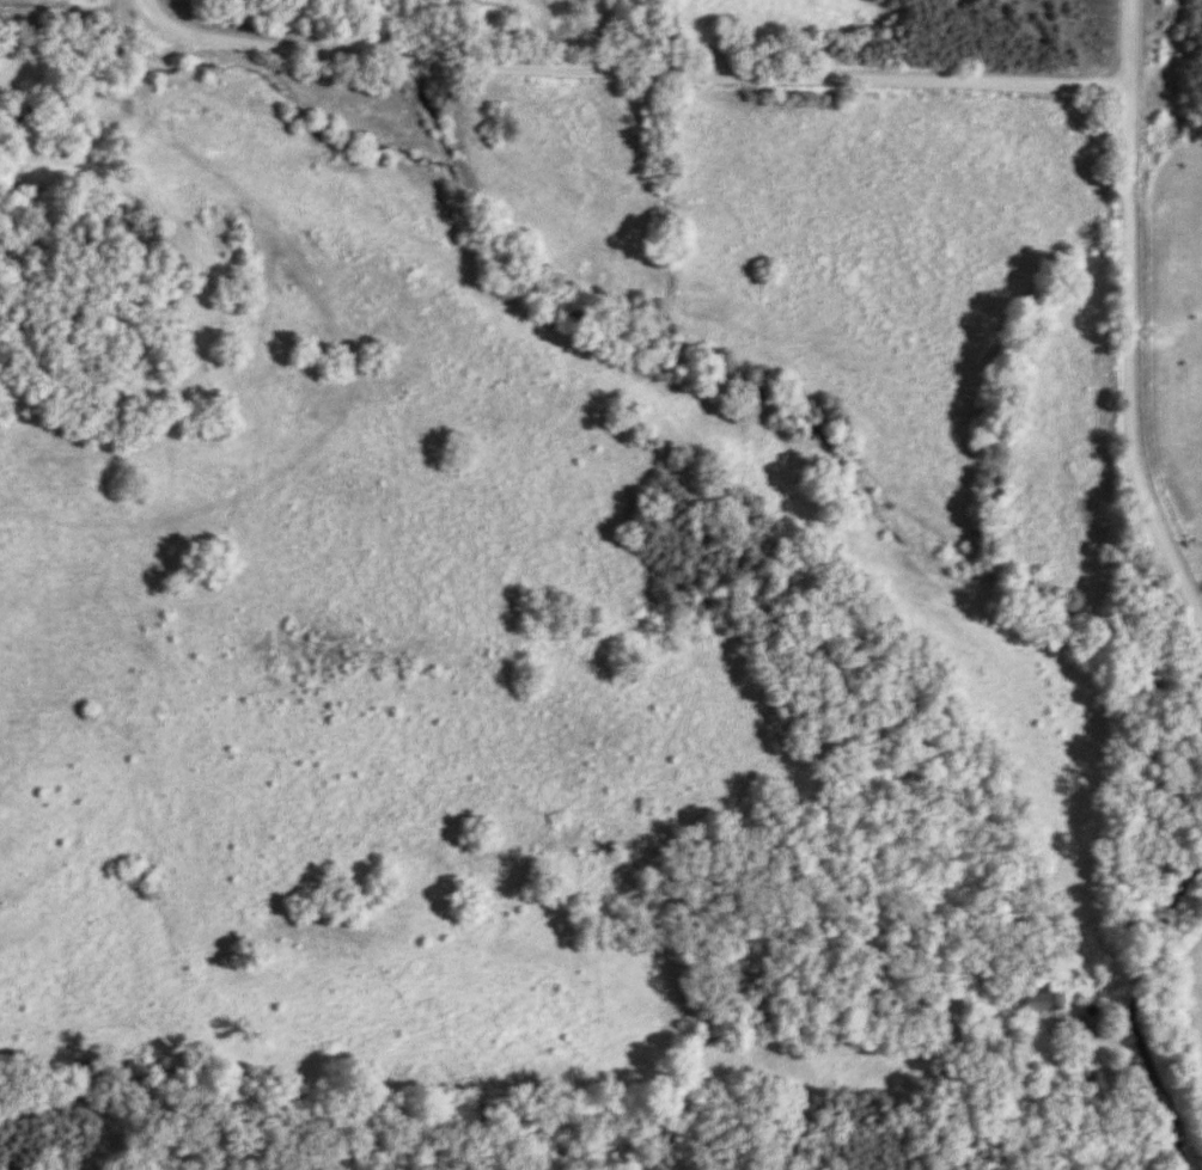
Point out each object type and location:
road: (621, 65)
road: (1121, 319)
building: (1037, 997)
road: (1145, 1083)

